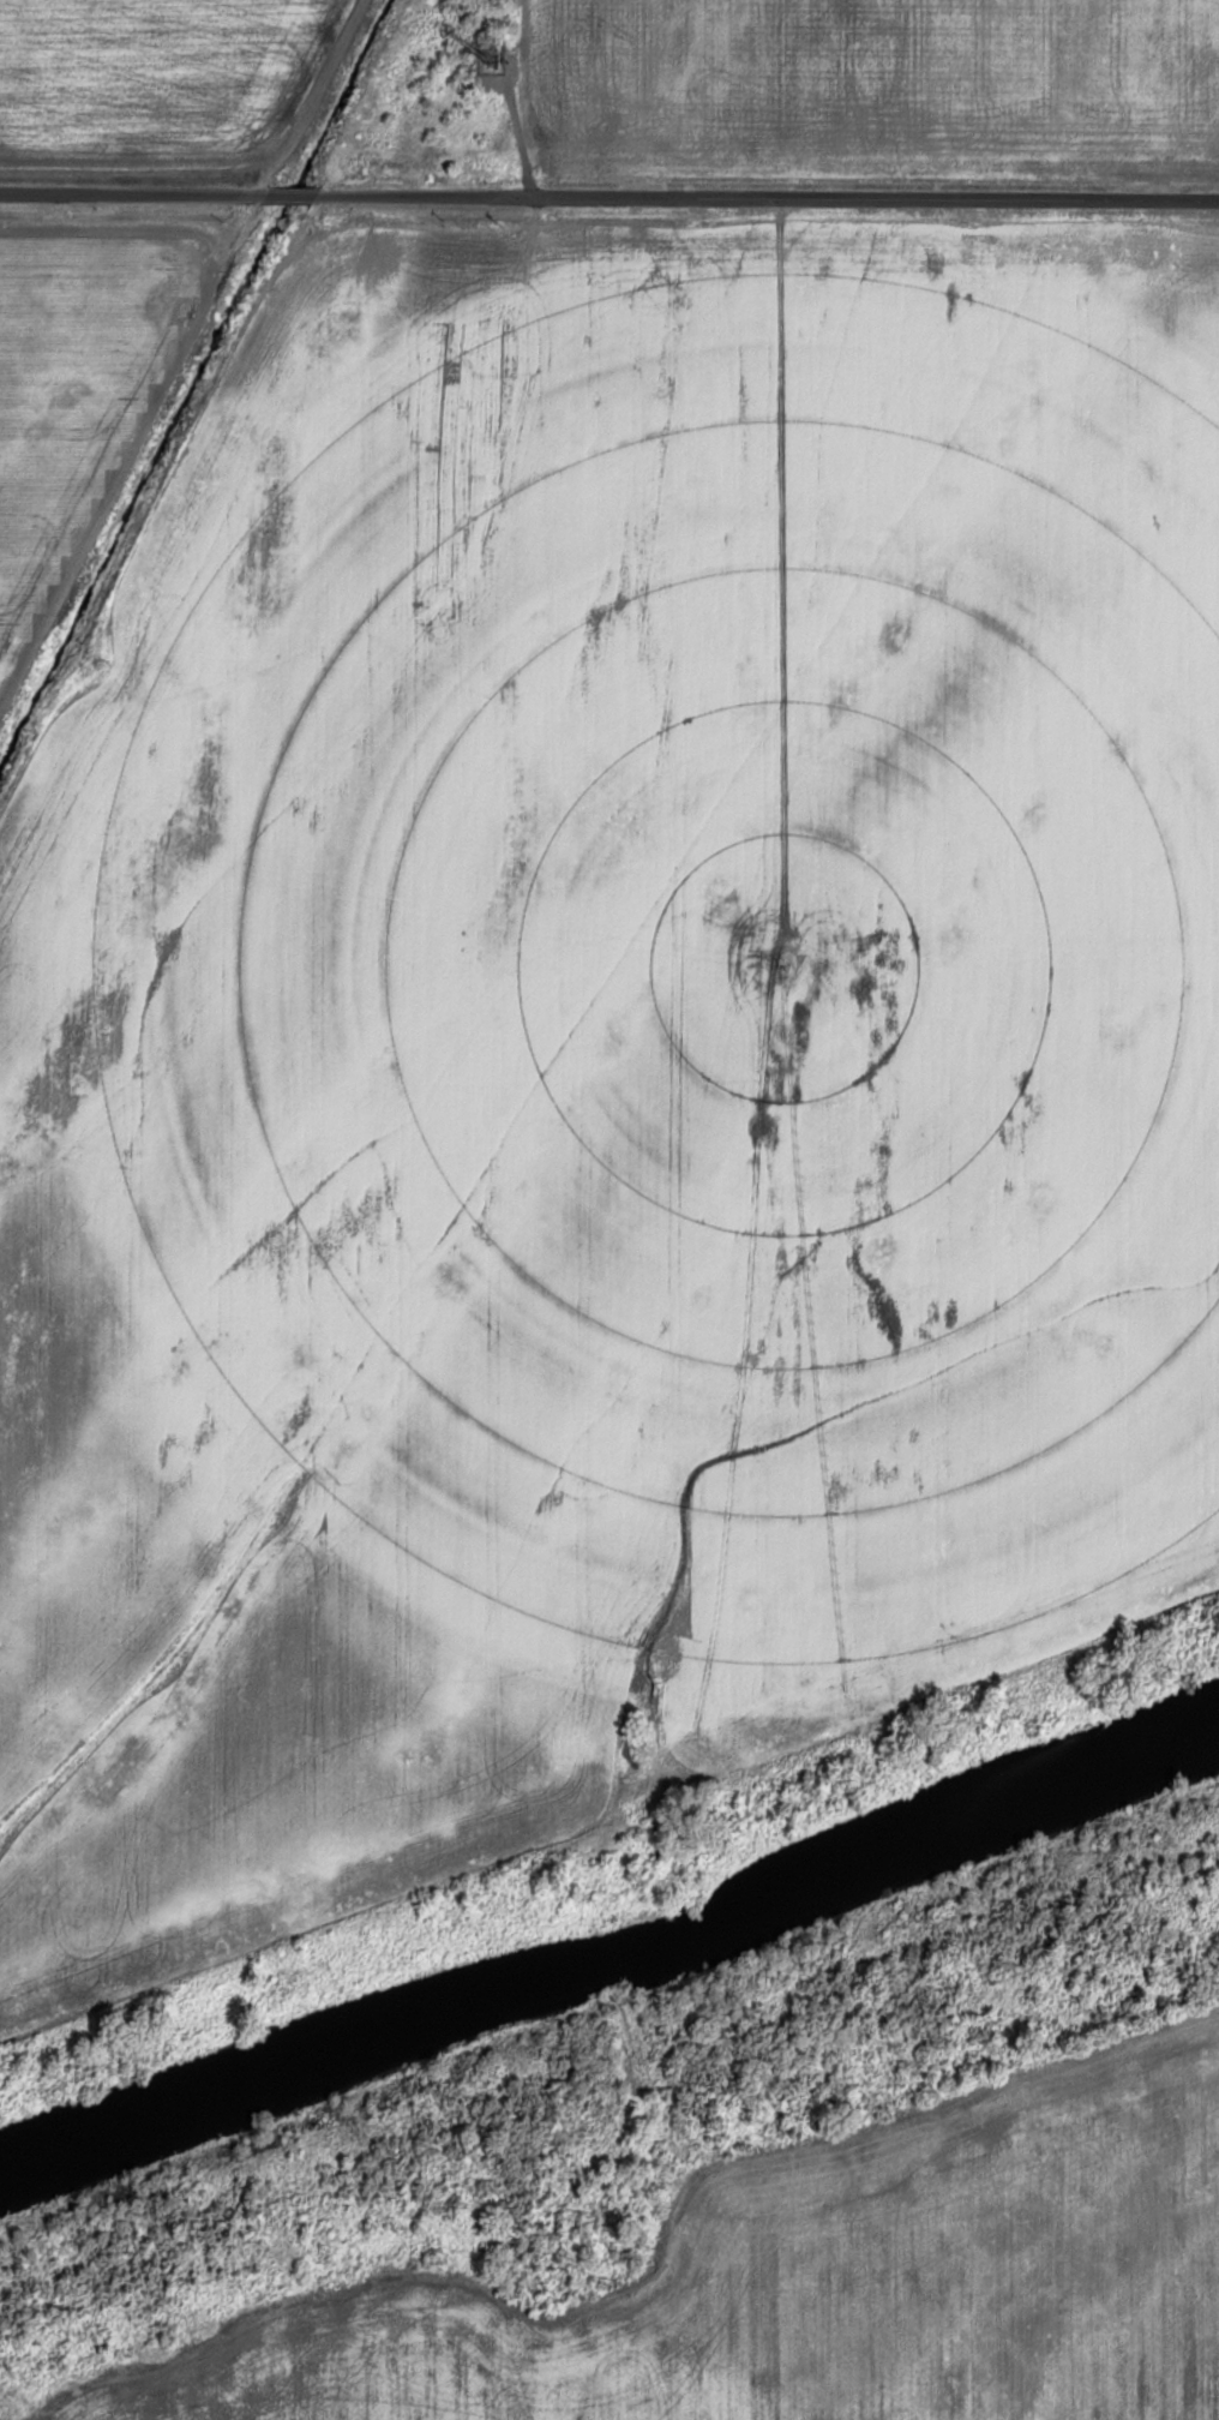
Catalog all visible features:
road: (608, 198)

